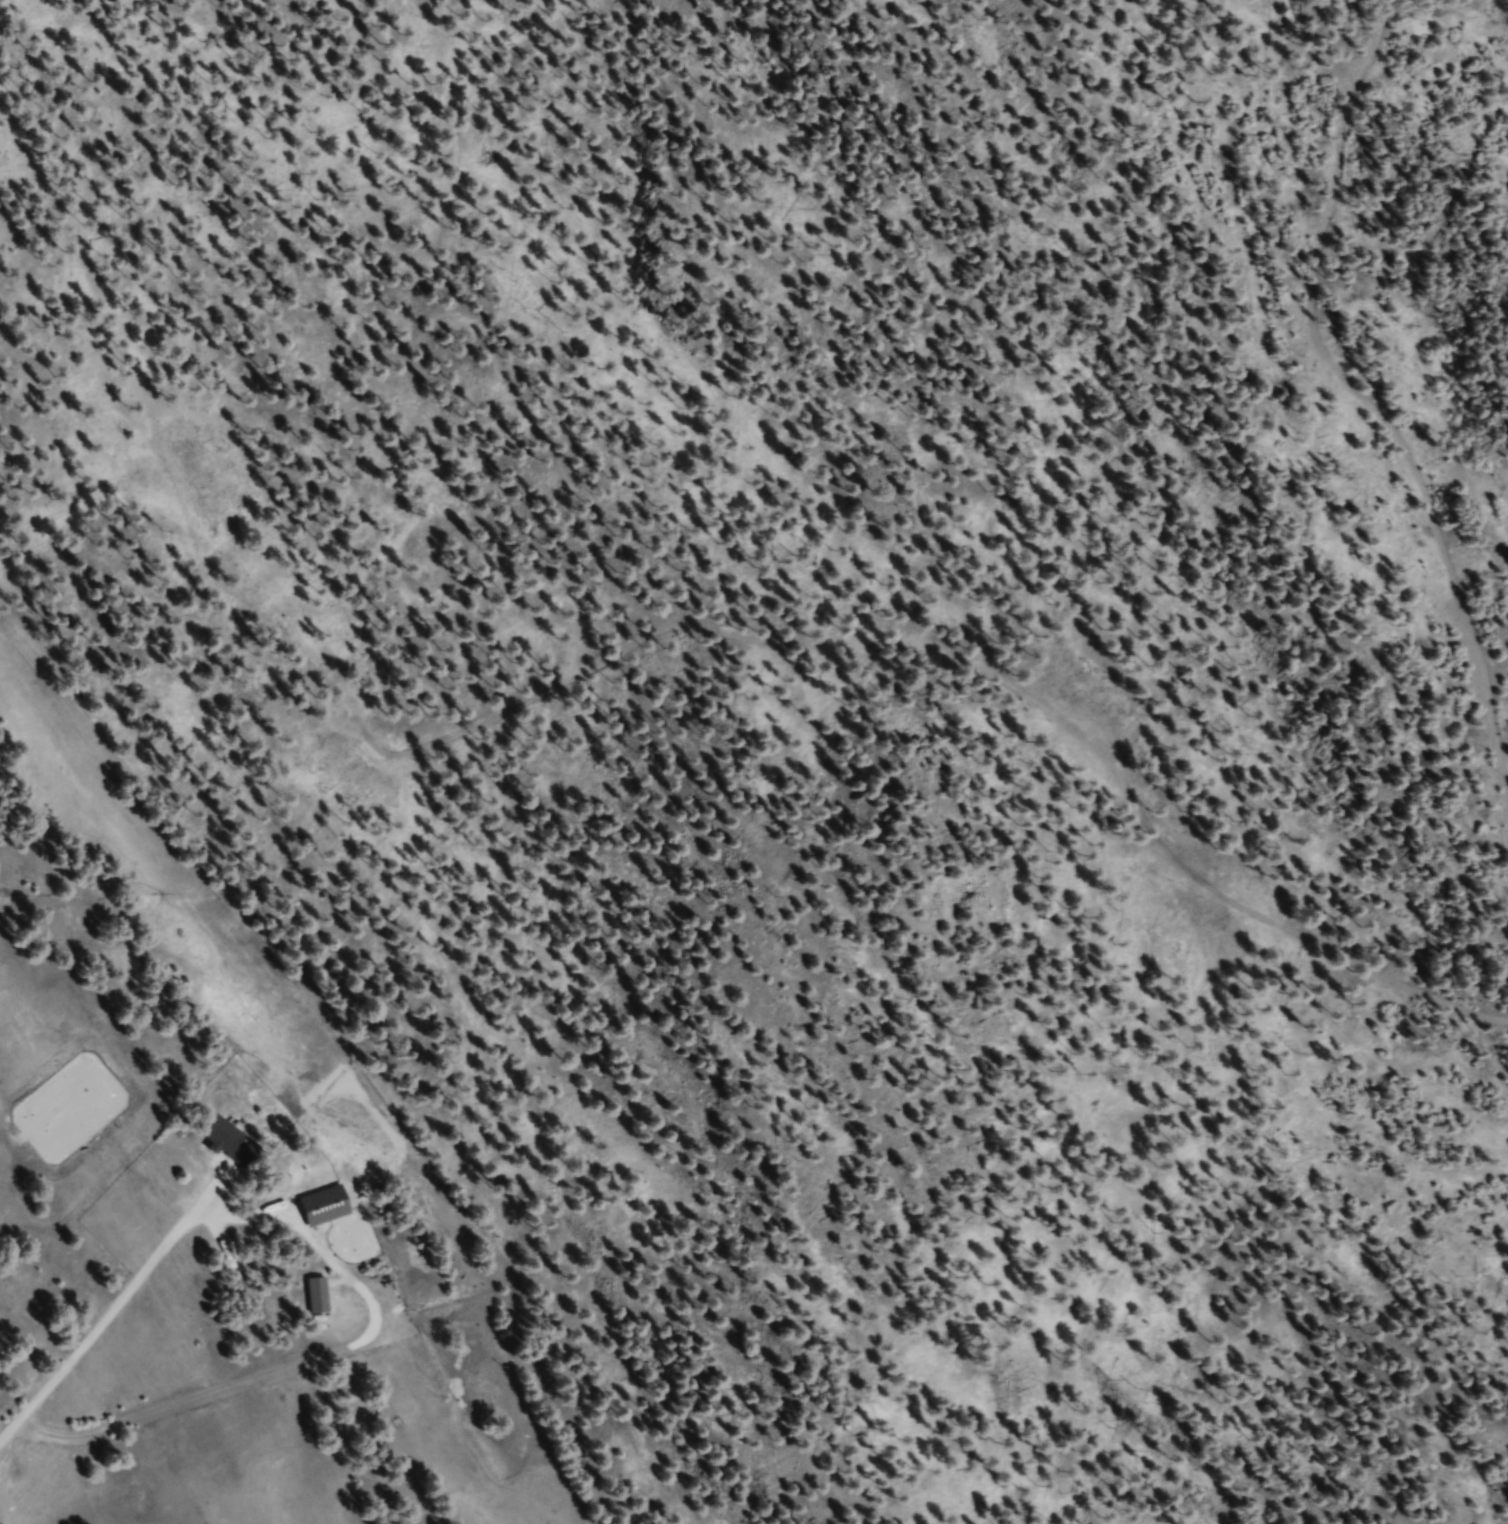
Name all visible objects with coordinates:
road: (1370, 409)
road: (682, 626)
building: (236, 1144)
building: (331, 1208)
building: (324, 1302)
road: (85, 1339)

